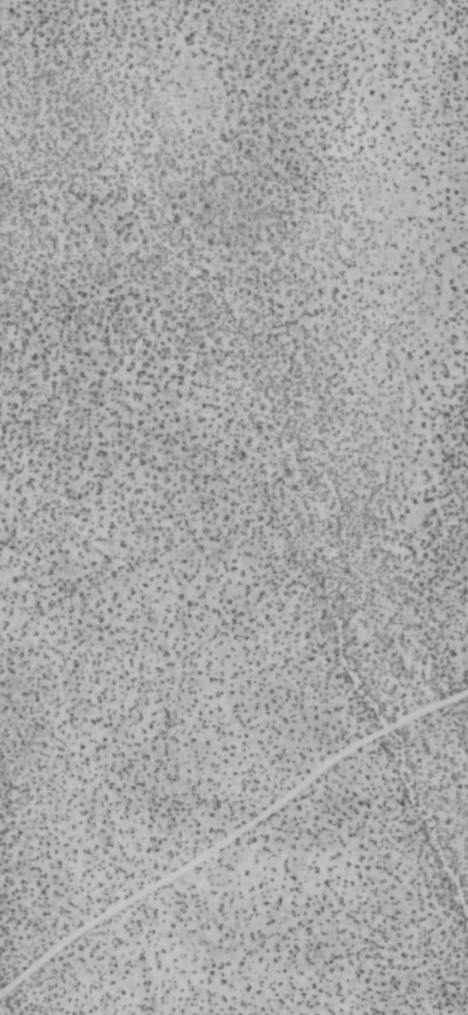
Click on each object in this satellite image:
road: (228, 828)

